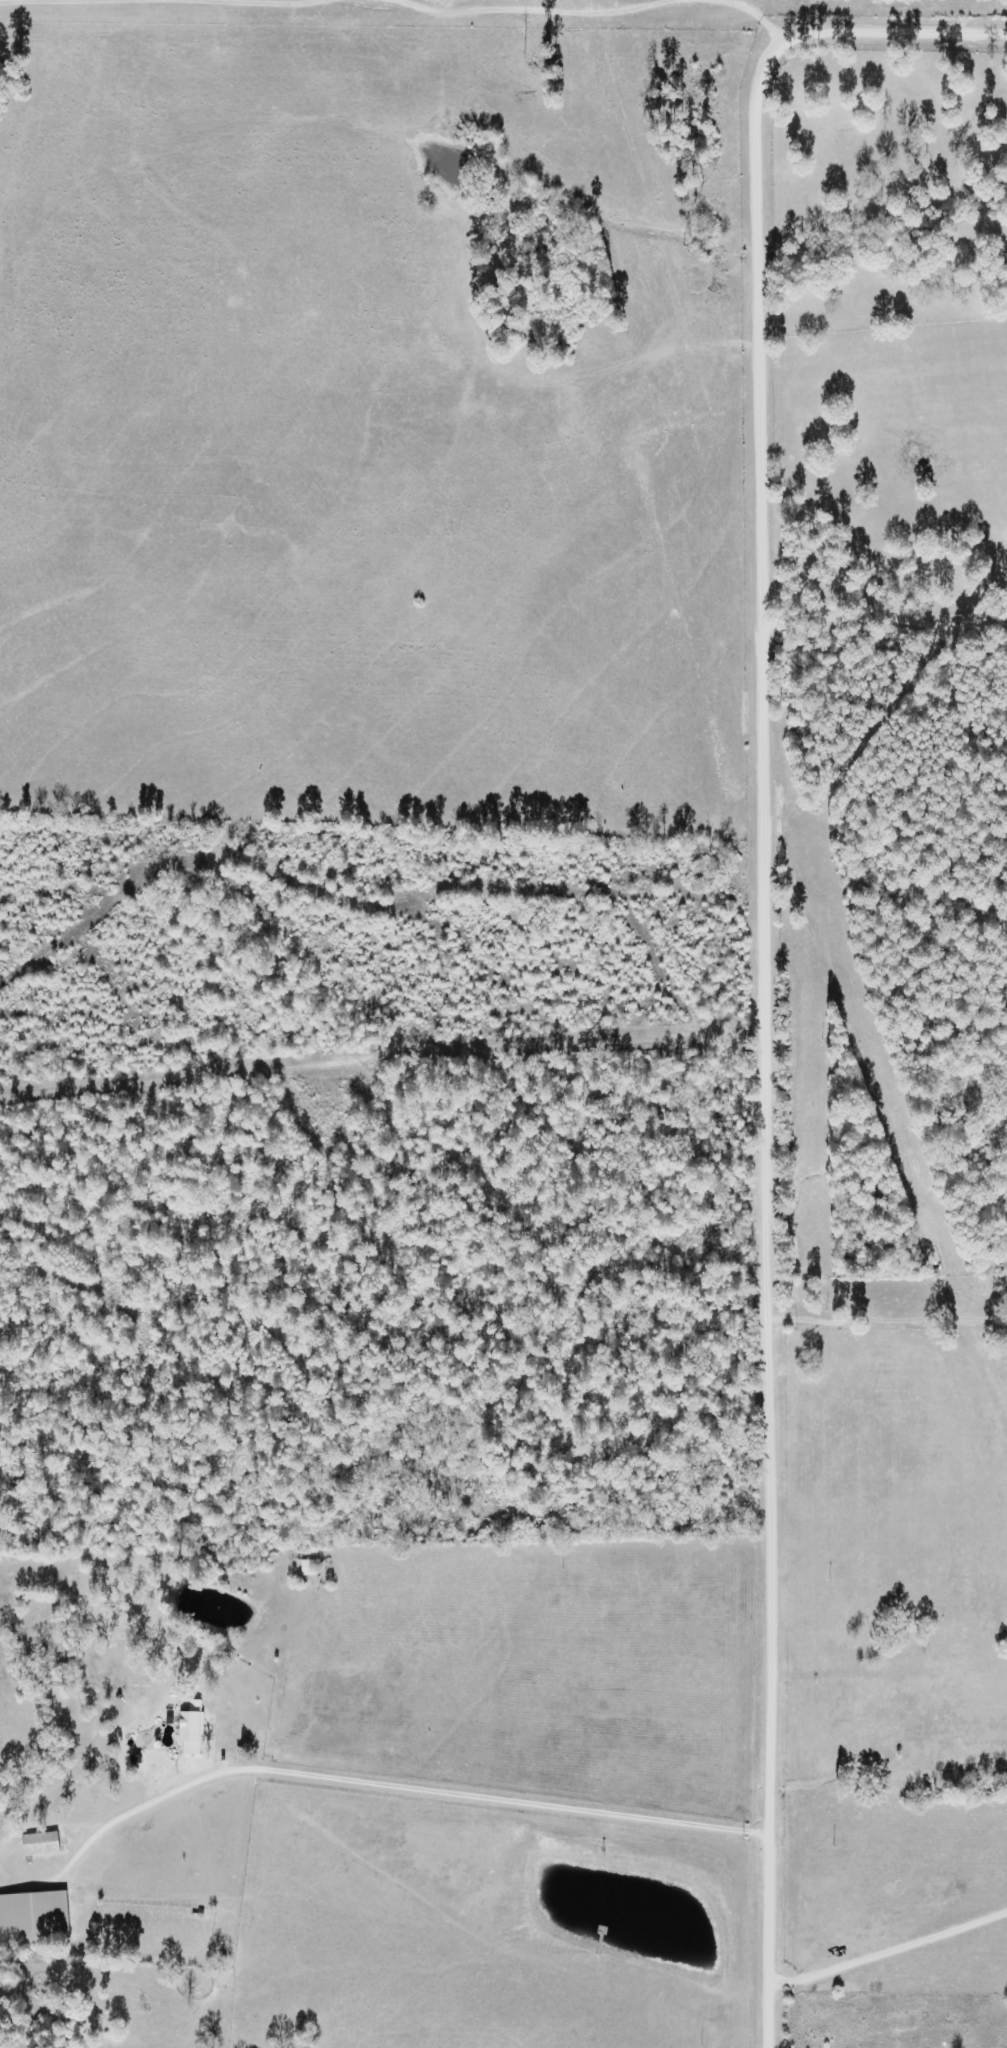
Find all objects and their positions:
road: (754, 926)
building: (308, 1569)
building: (65, 1645)
building: (913, 1647)
building: (191, 1733)
building: (40, 1845)
building: (34, 1918)

